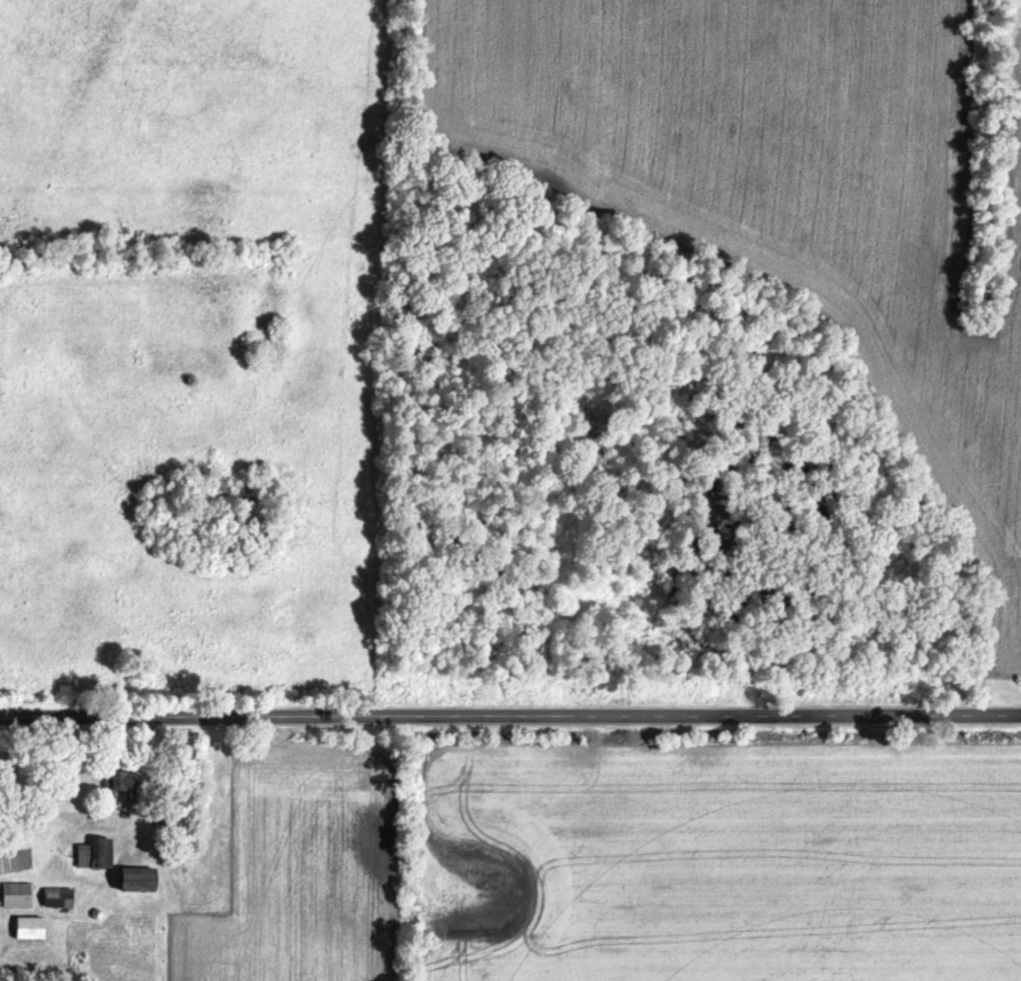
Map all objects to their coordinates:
road: (510, 712)
building: (129, 788)
building: (85, 858)
building: (18, 896)
building: (60, 899)
building: (32, 929)

